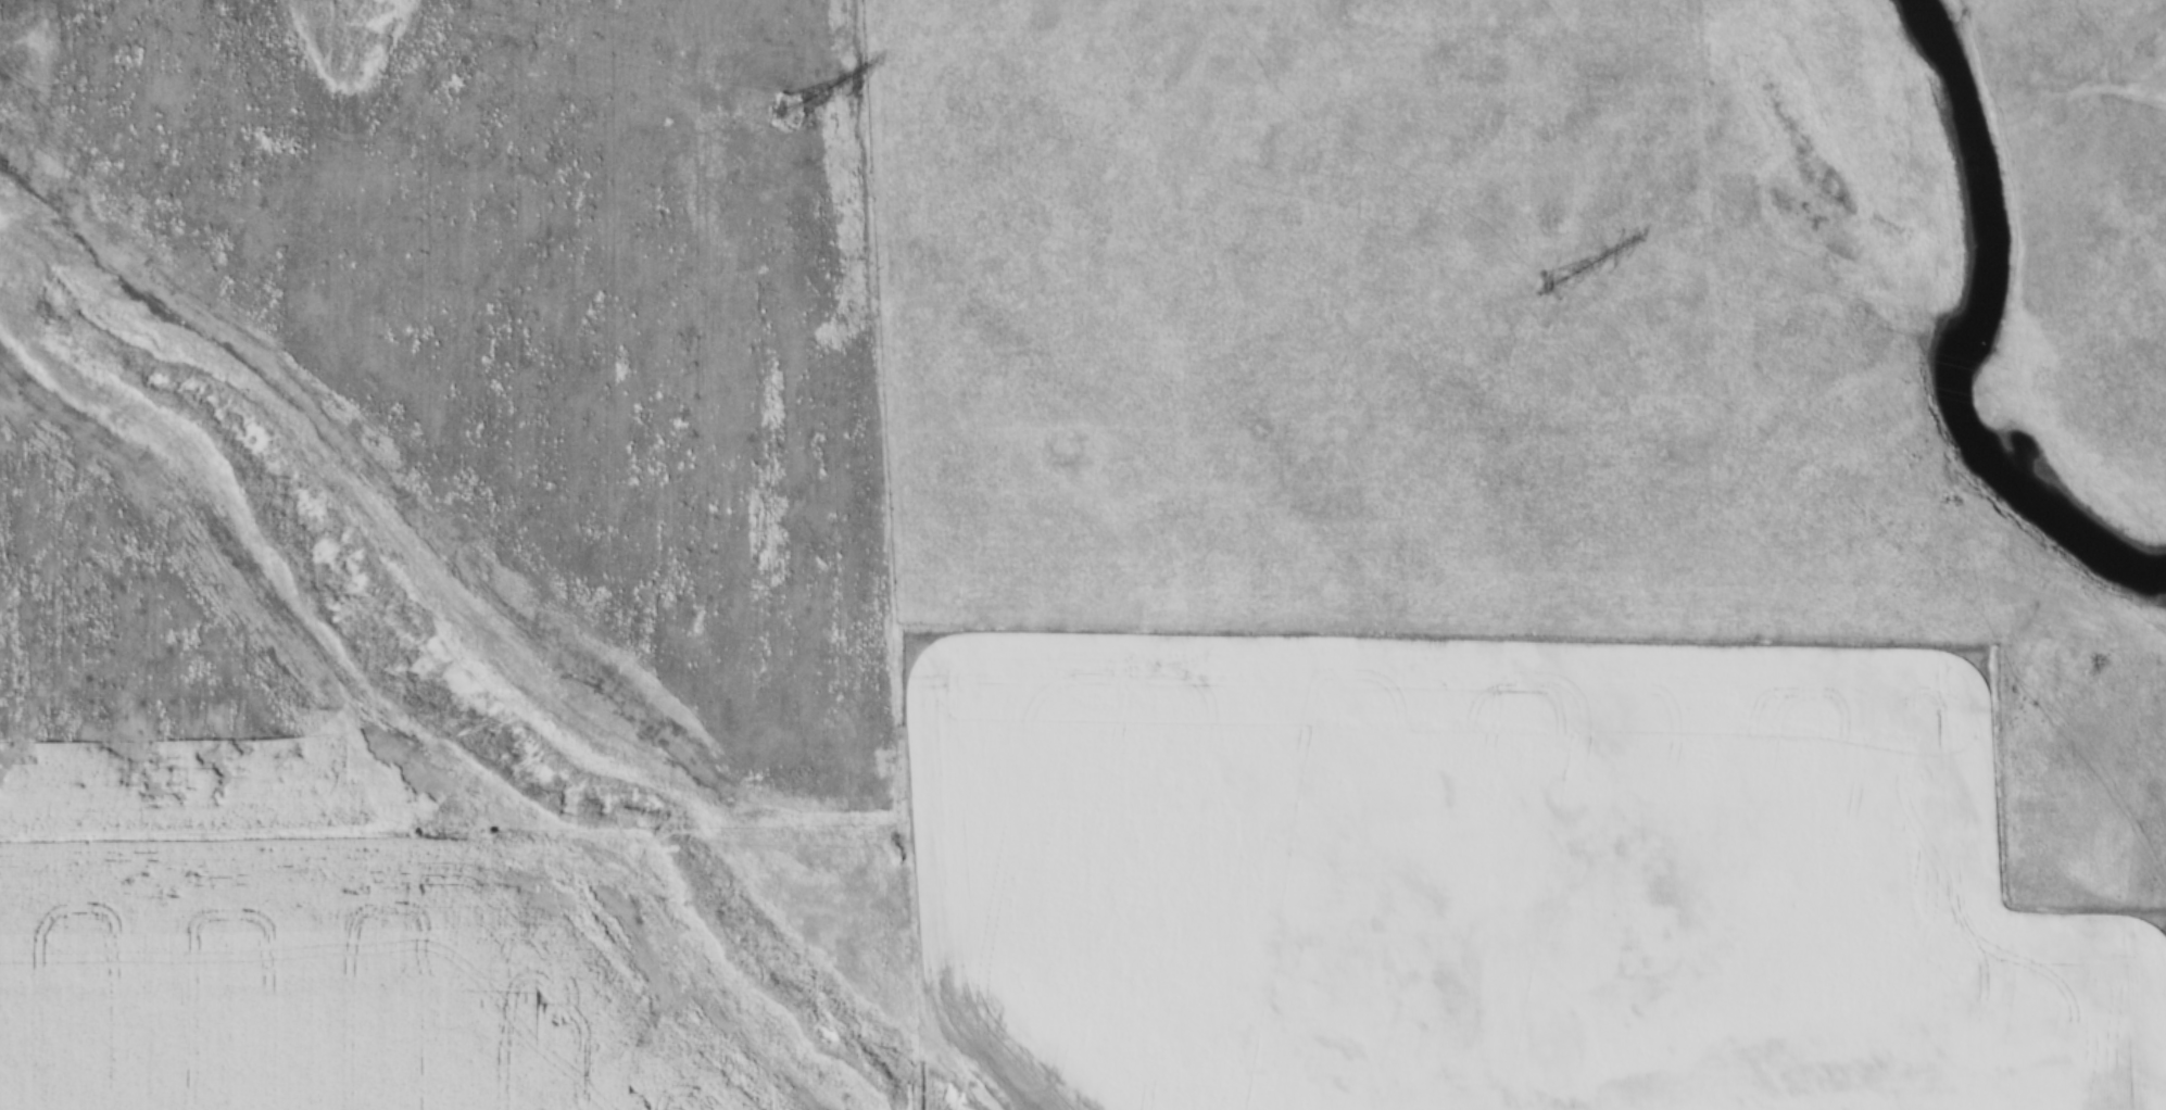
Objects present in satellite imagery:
power tower: (804, 113)
power tower: (1549, 289)

